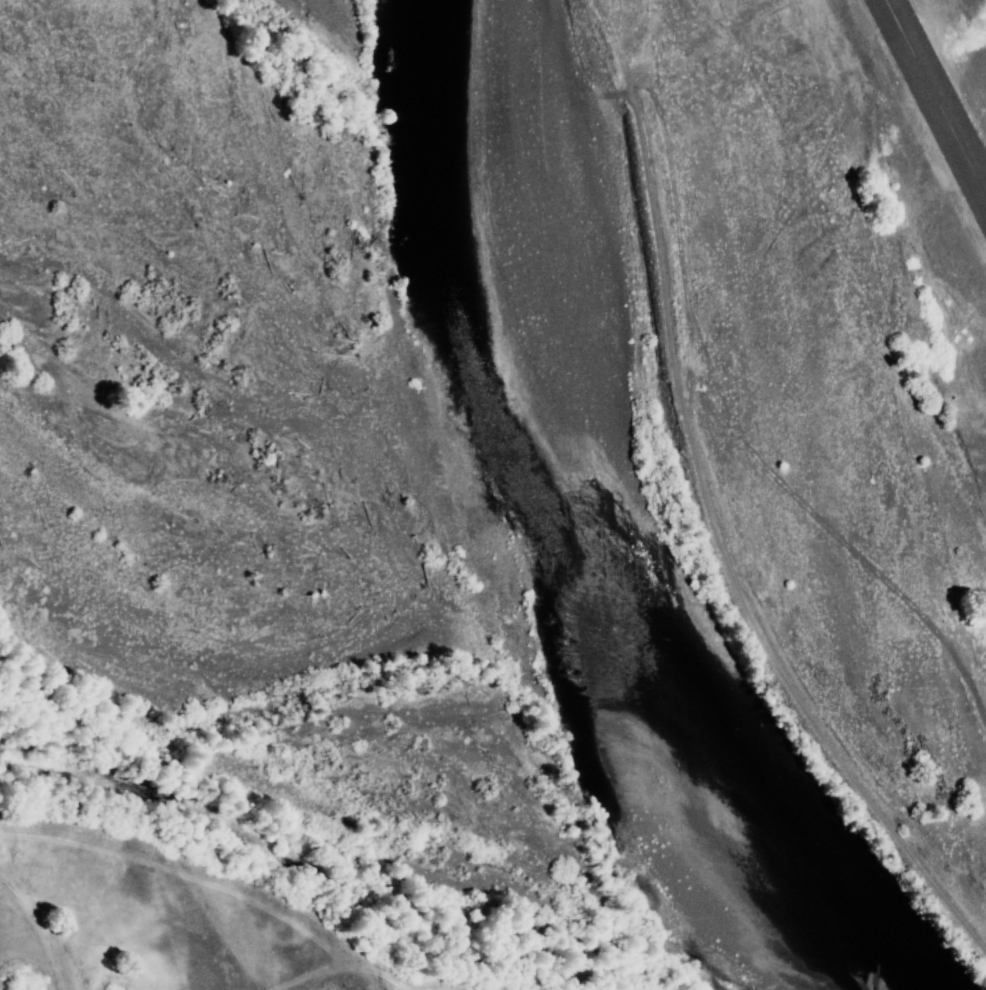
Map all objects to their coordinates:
airport runway: (937, 94)
road: (715, 503)
river: (327, 711)
river: (678, 938)

